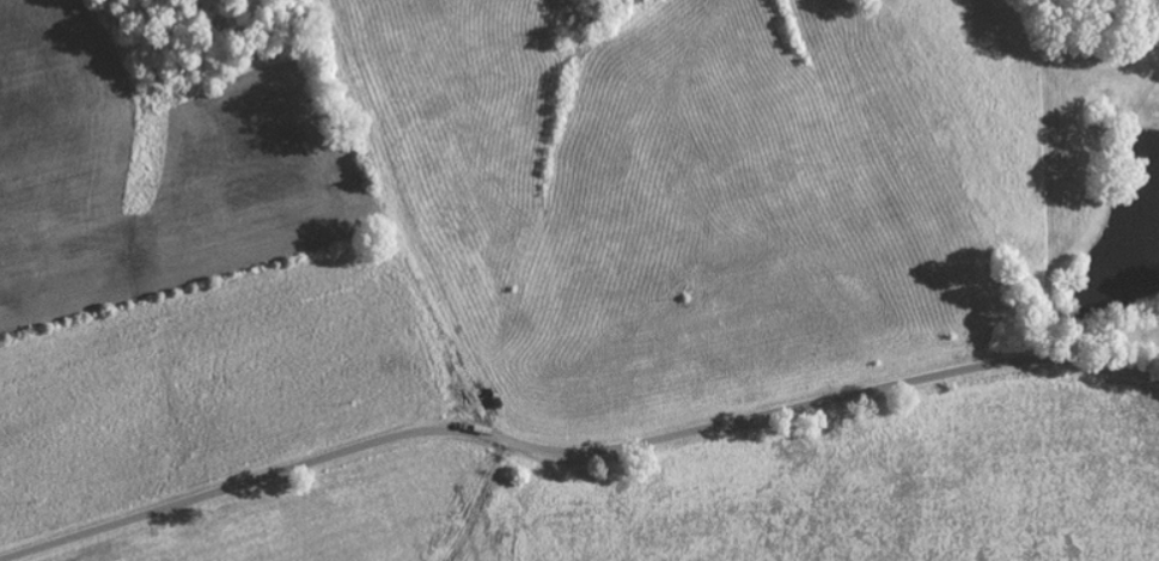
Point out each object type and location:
road: (573, 451)

